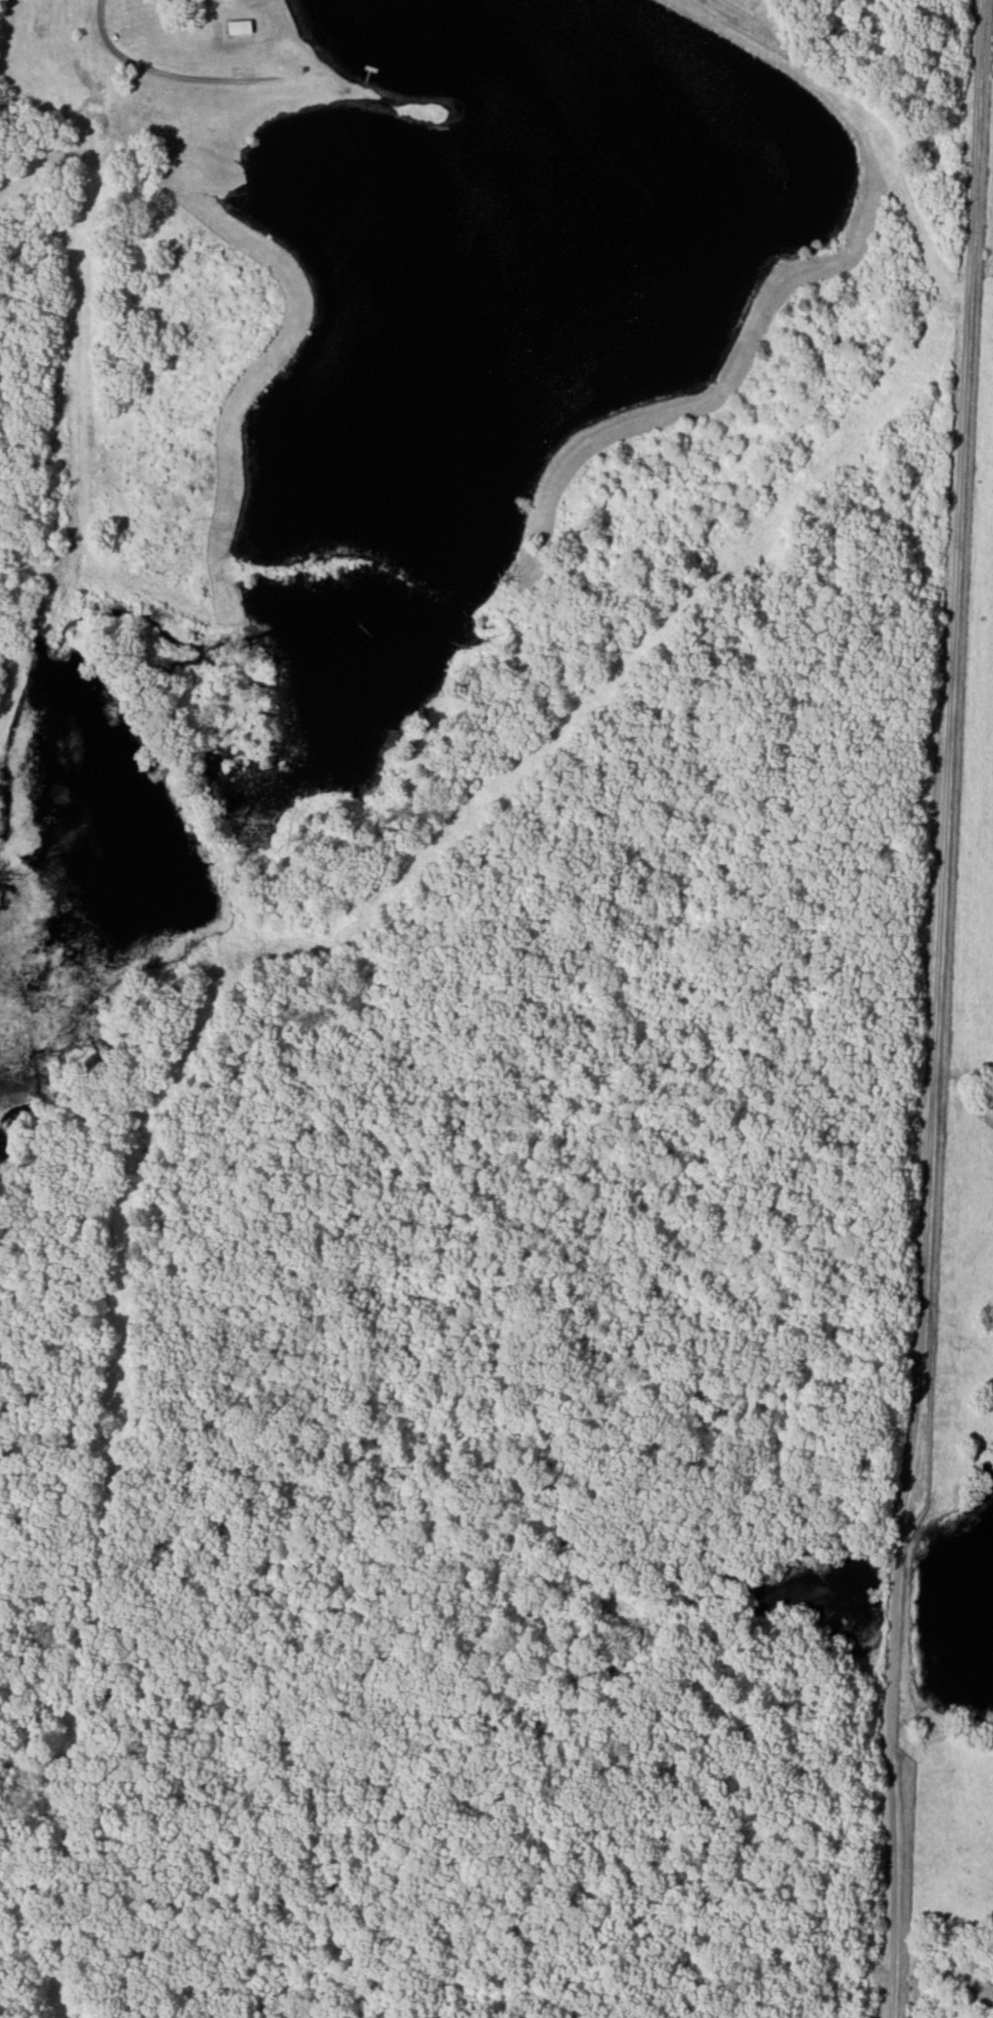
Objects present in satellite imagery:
building: (240, 27)
dam: (776, 60)
road: (151, 71)
road: (925, 1008)

